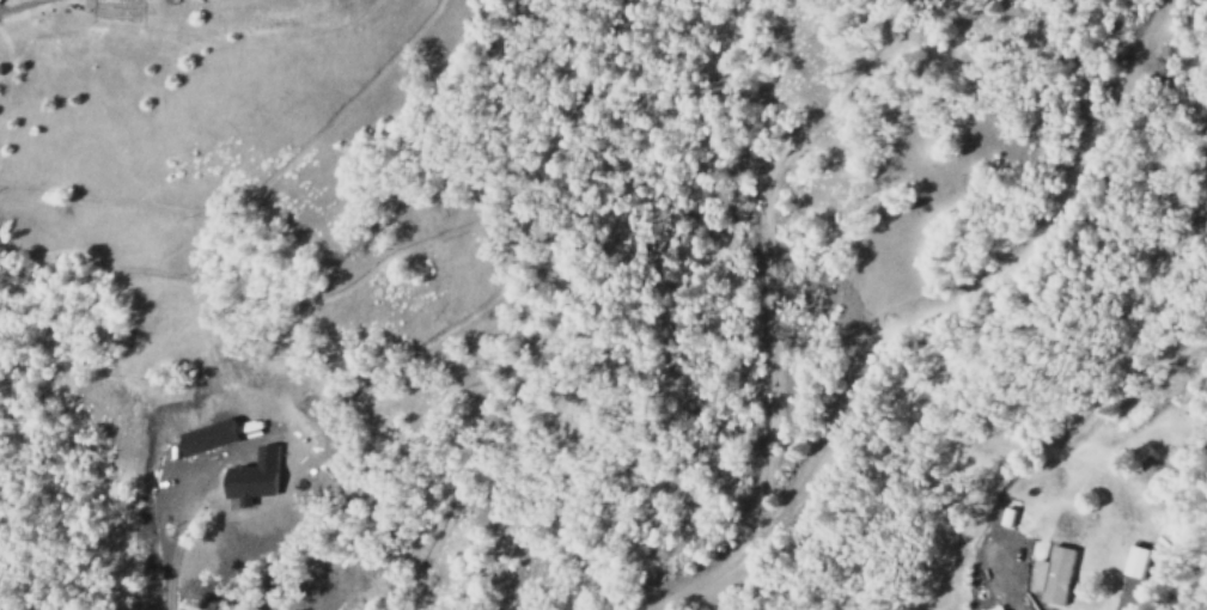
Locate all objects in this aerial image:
road: (758, 267)
road: (910, 316)
building: (1048, 574)
road: (697, 581)
building: (996, 609)

